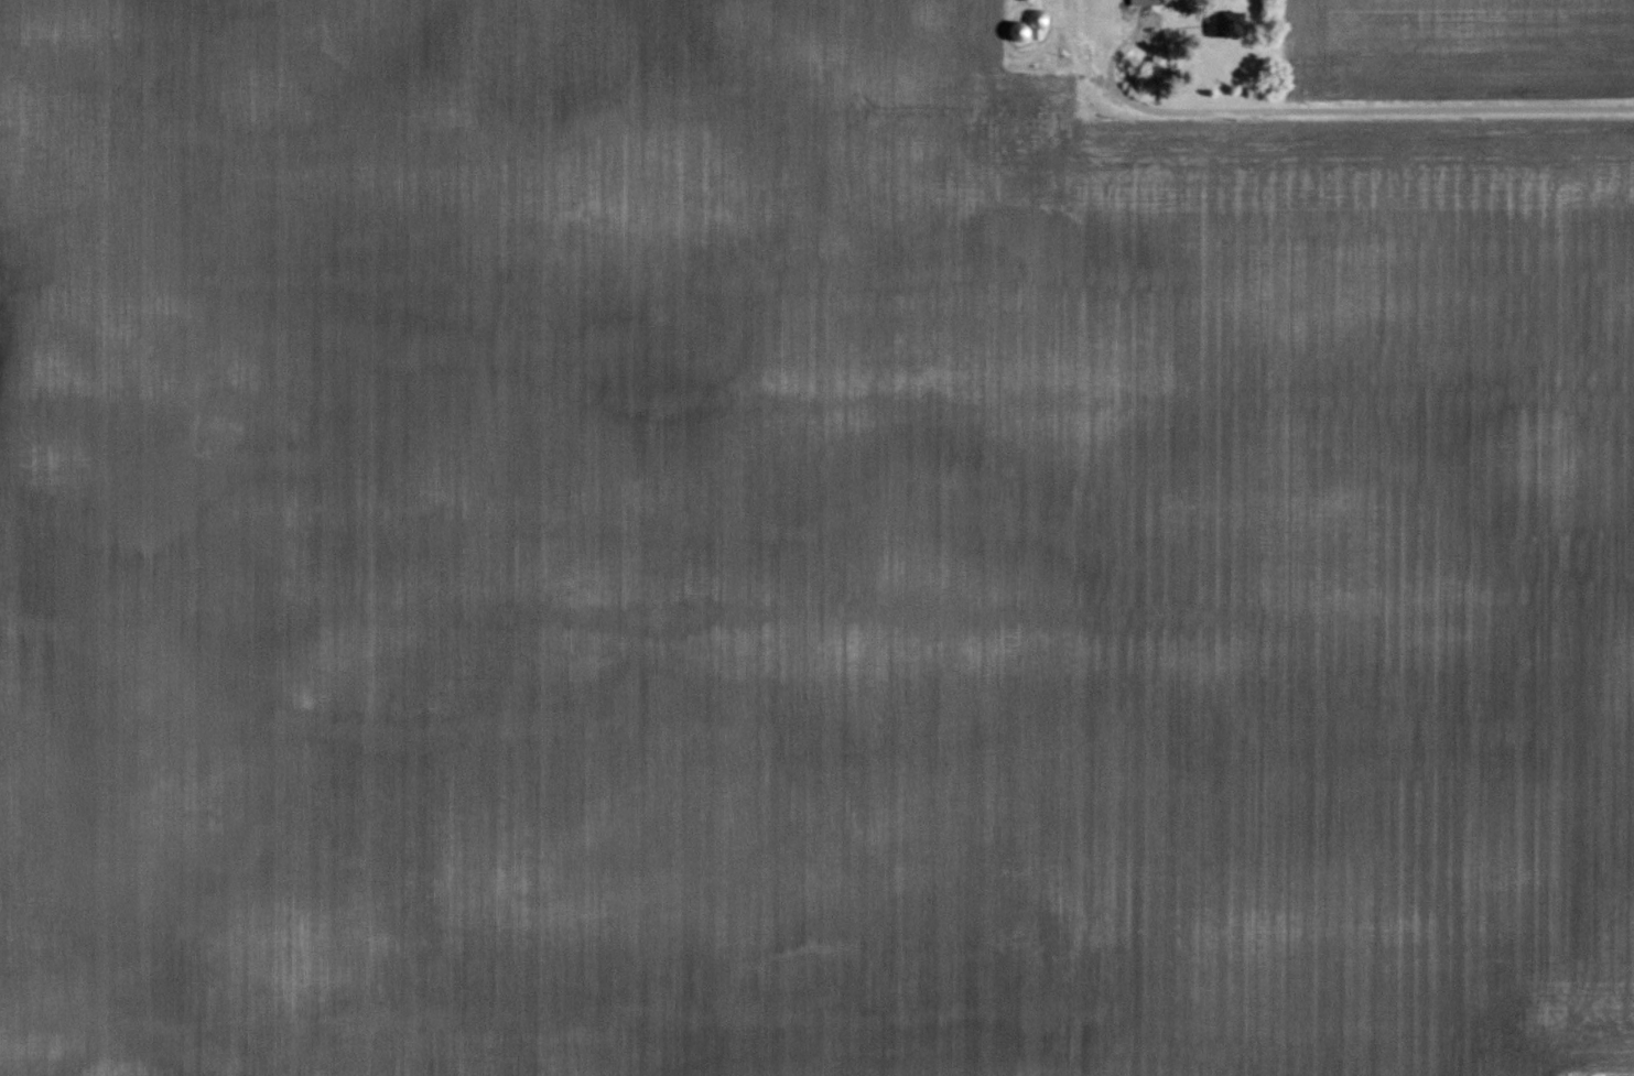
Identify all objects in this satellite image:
building: (1145, 2)
building: (1227, 21)
road: (1343, 108)

